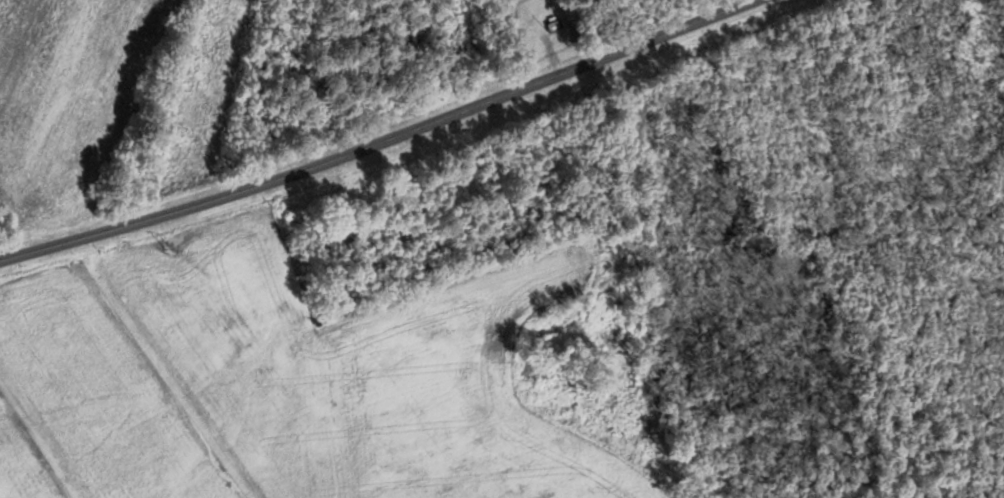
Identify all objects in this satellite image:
road: (383, 143)
power tower: (181, 253)

